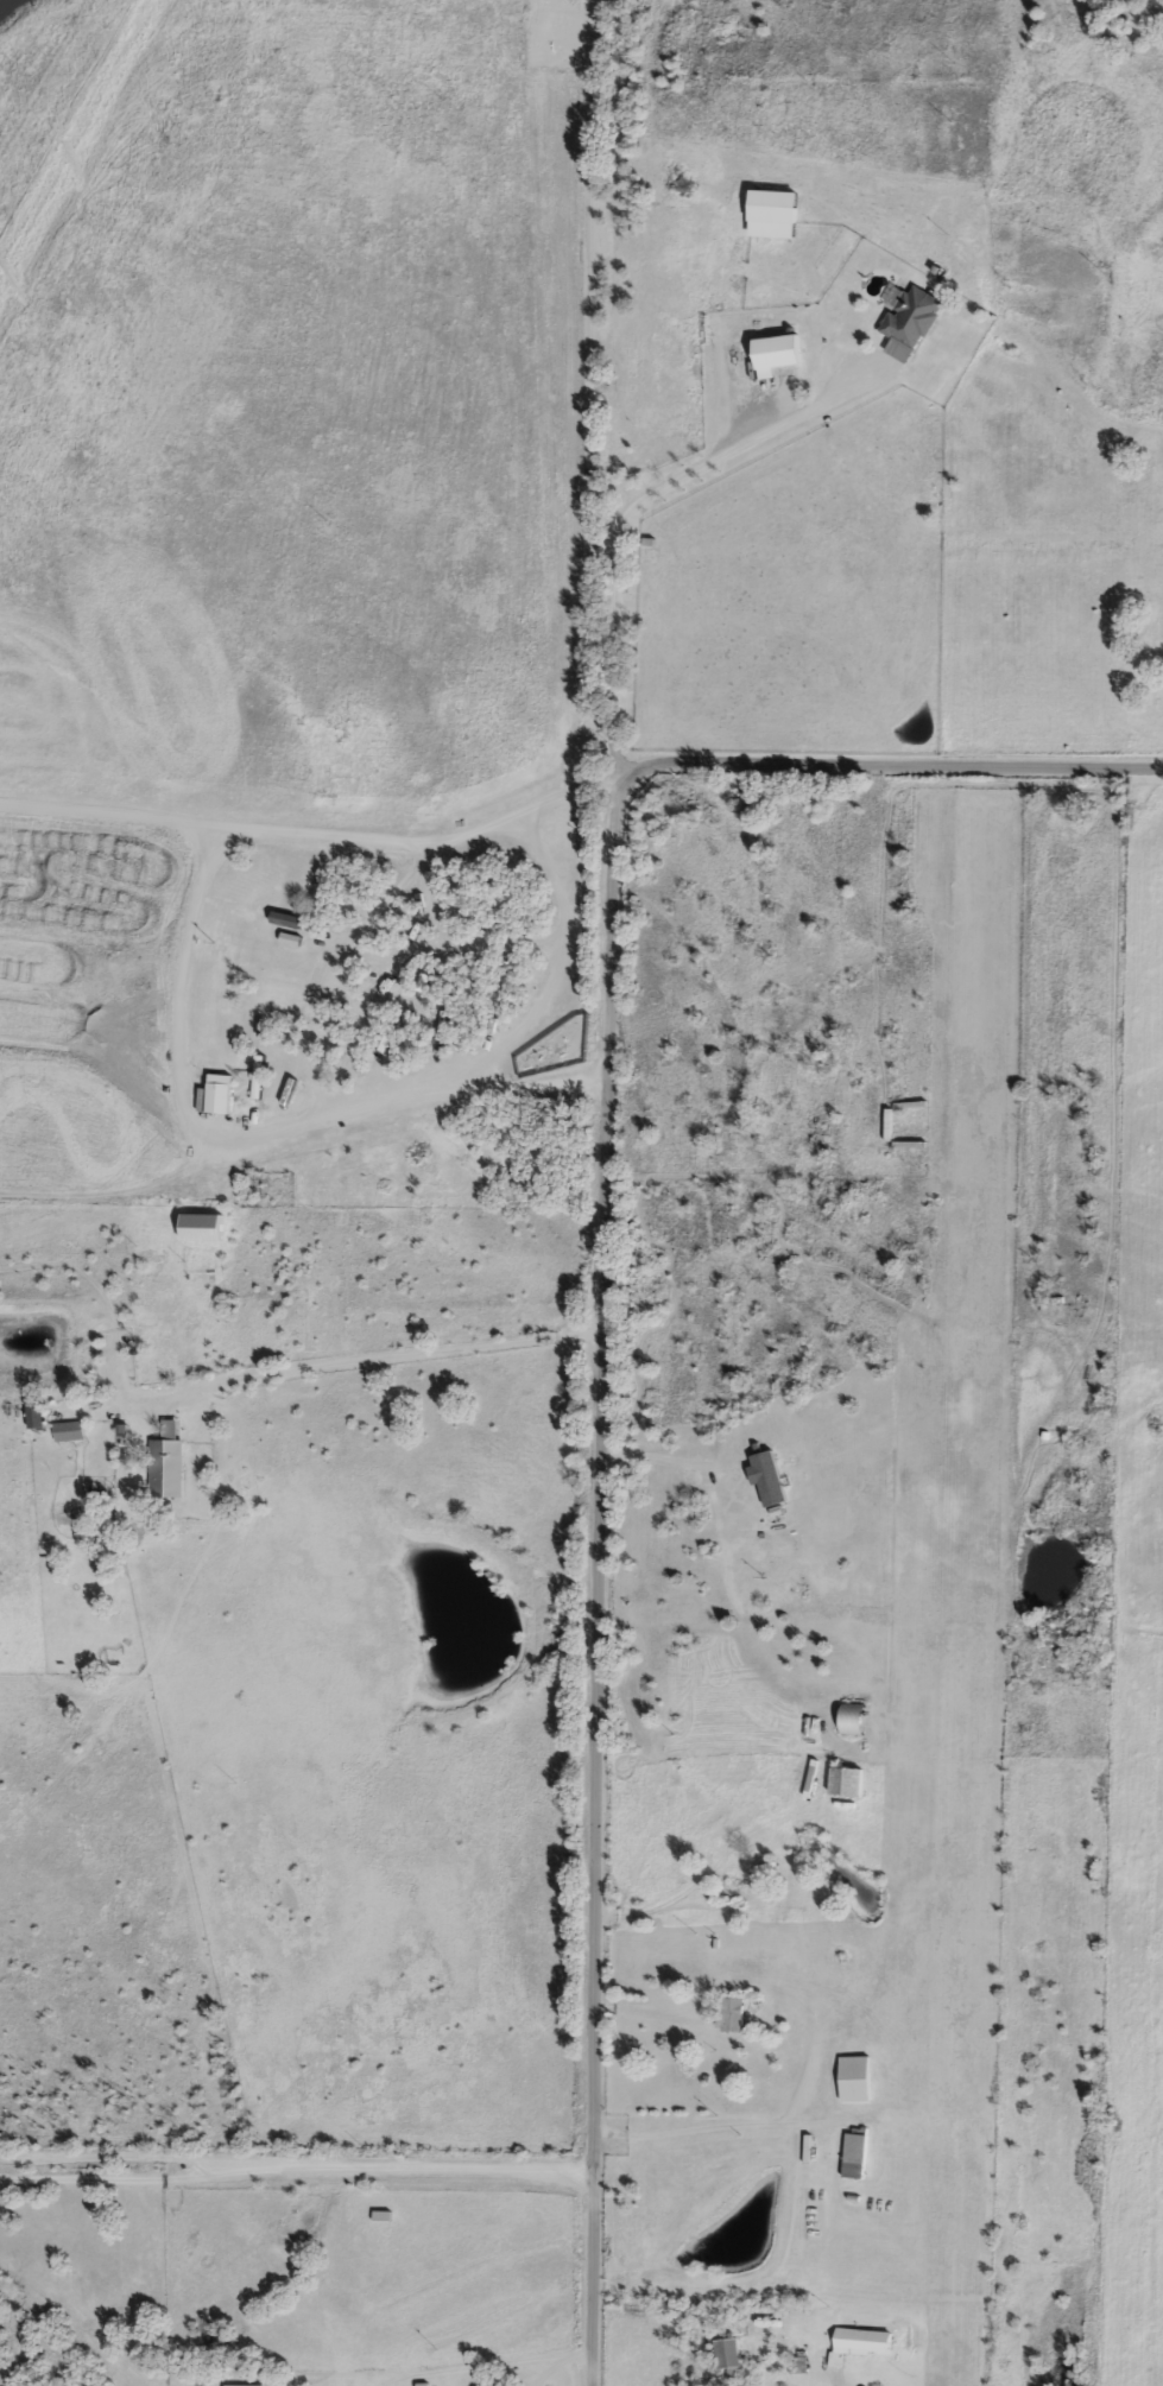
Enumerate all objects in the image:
building: (770, 213)
building: (909, 316)
building: (771, 353)
building: (891, 423)
road: (627, 513)
road: (126, 815)
road: (546, 876)
road: (543, 944)
road: (331, 966)
road: (178, 979)
building: (258, 1076)
building: (197, 1226)
road: (603, 1311)
road: (290, 1371)
building: (36, 1416)
building: (165, 1463)
building: (766, 1477)
building: (103, 1543)
building: (851, 1719)
building: (843, 1780)
building: (731, 2014)
building: (853, 2078)
road: (702, 2127)
building: (853, 2153)
road: (118, 2158)
road: (295, 2167)
building: (861, 2341)
building: (726, 2355)
building: (798, 2361)
road: (488, 2367)
road: (545, 2371)

